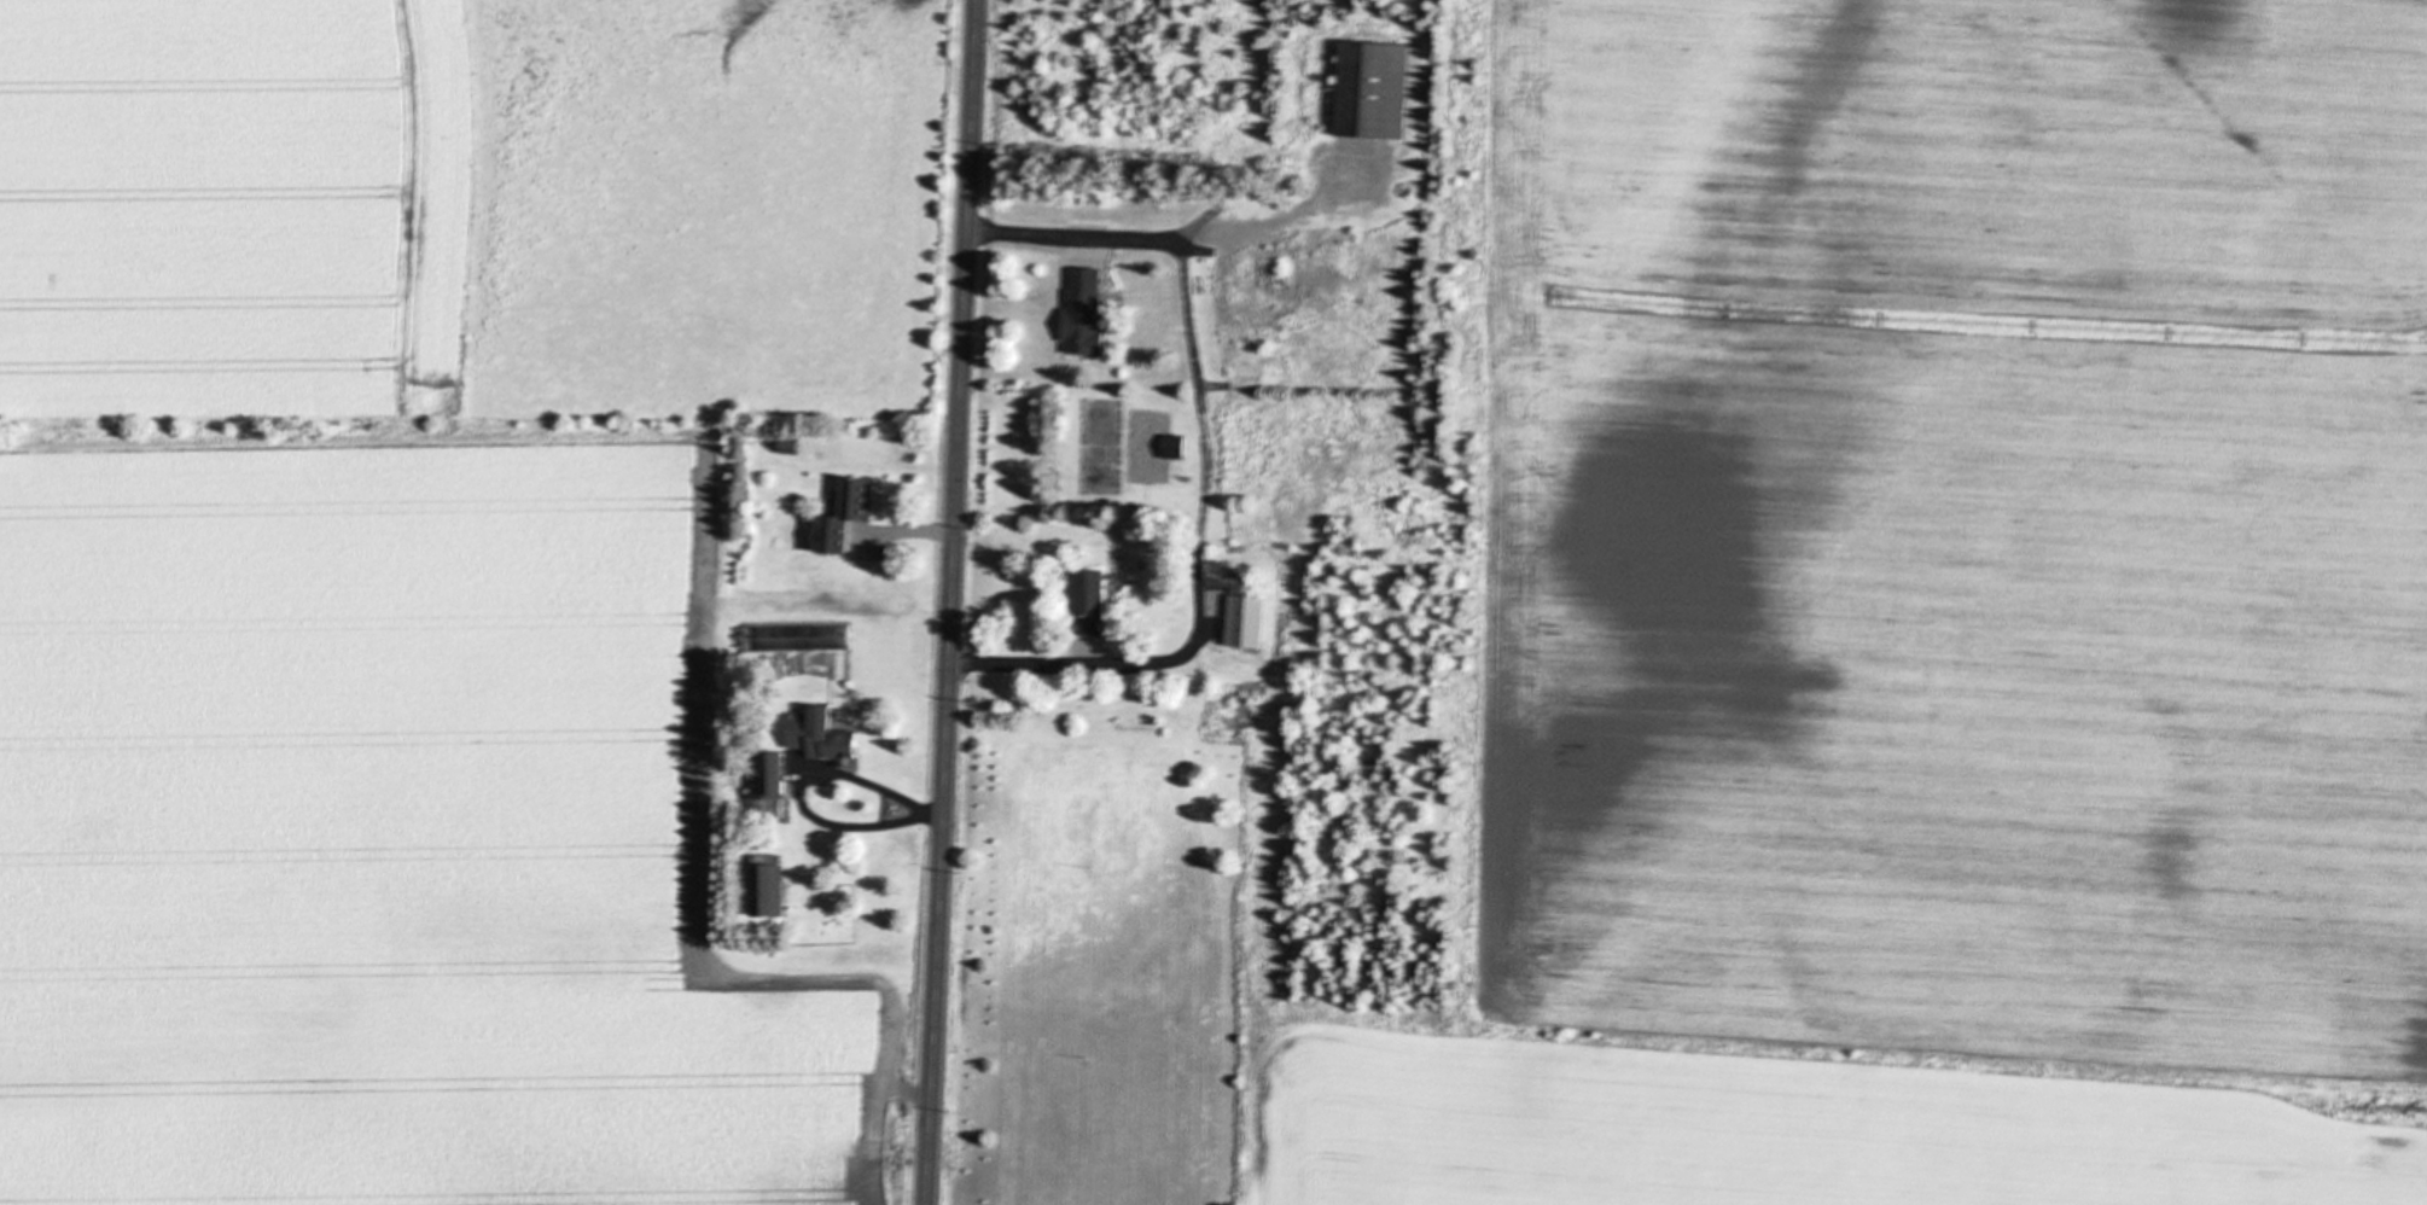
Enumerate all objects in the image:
building: (1375, 91)
building: (1087, 310)
building: (1175, 447)
road: (1209, 464)
building: (850, 523)
road: (920, 532)
building: (1093, 600)
road: (949, 601)
building: (1247, 621)
building: (822, 735)
building: (775, 780)
road: (793, 791)
building: (770, 886)

